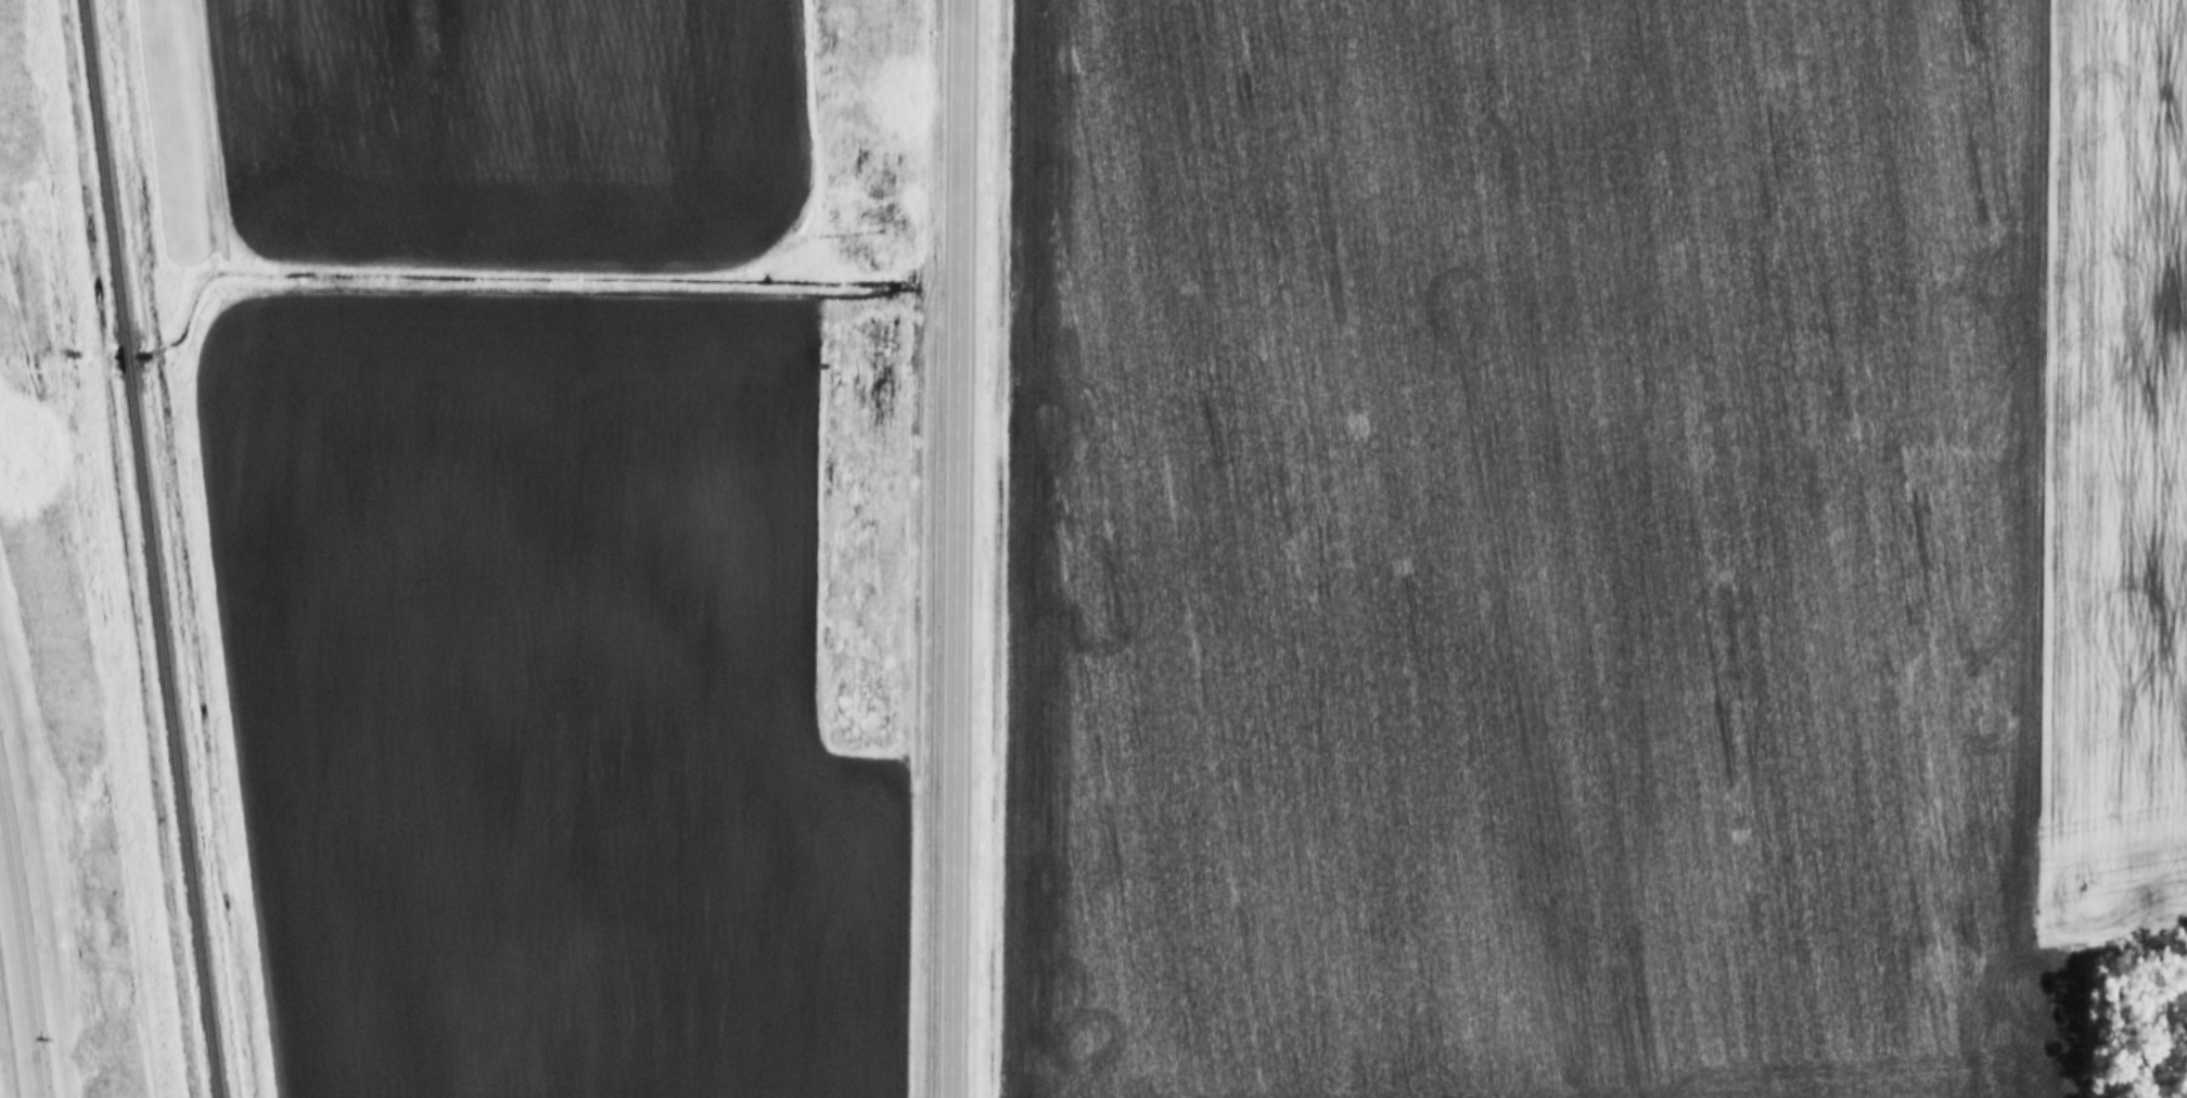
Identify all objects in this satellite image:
airport runway: (170, 125)
airport: (171, 130)
railway: (103, 171)
railway: (126, 359)
road: (960, 549)
railway: (171, 737)
road: (17, 967)

